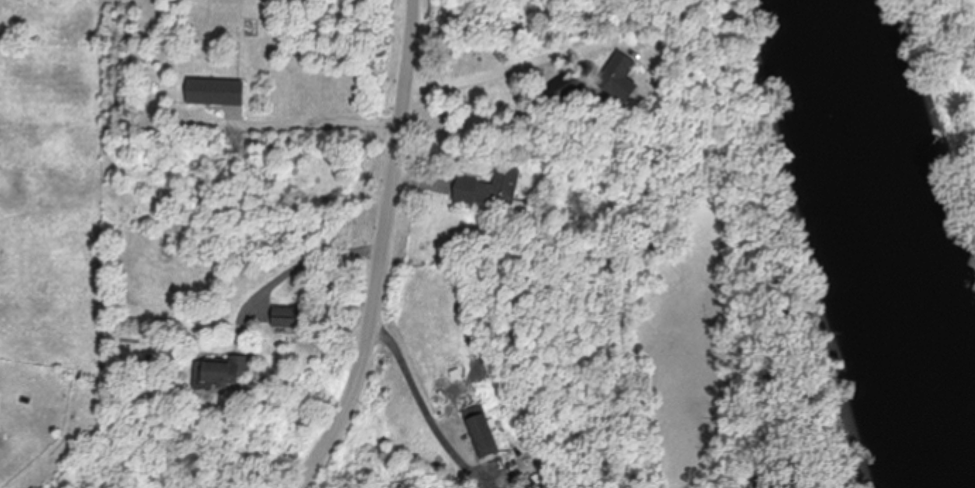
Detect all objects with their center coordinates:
road: (508, 72)
building: (620, 78)
building: (562, 90)
building: (216, 93)
road: (322, 122)
building: (491, 190)
river: (843, 245)
road: (385, 249)
road: (295, 268)
building: (286, 317)
building: (225, 373)
road: (432, 411)
building: (486, 435)

